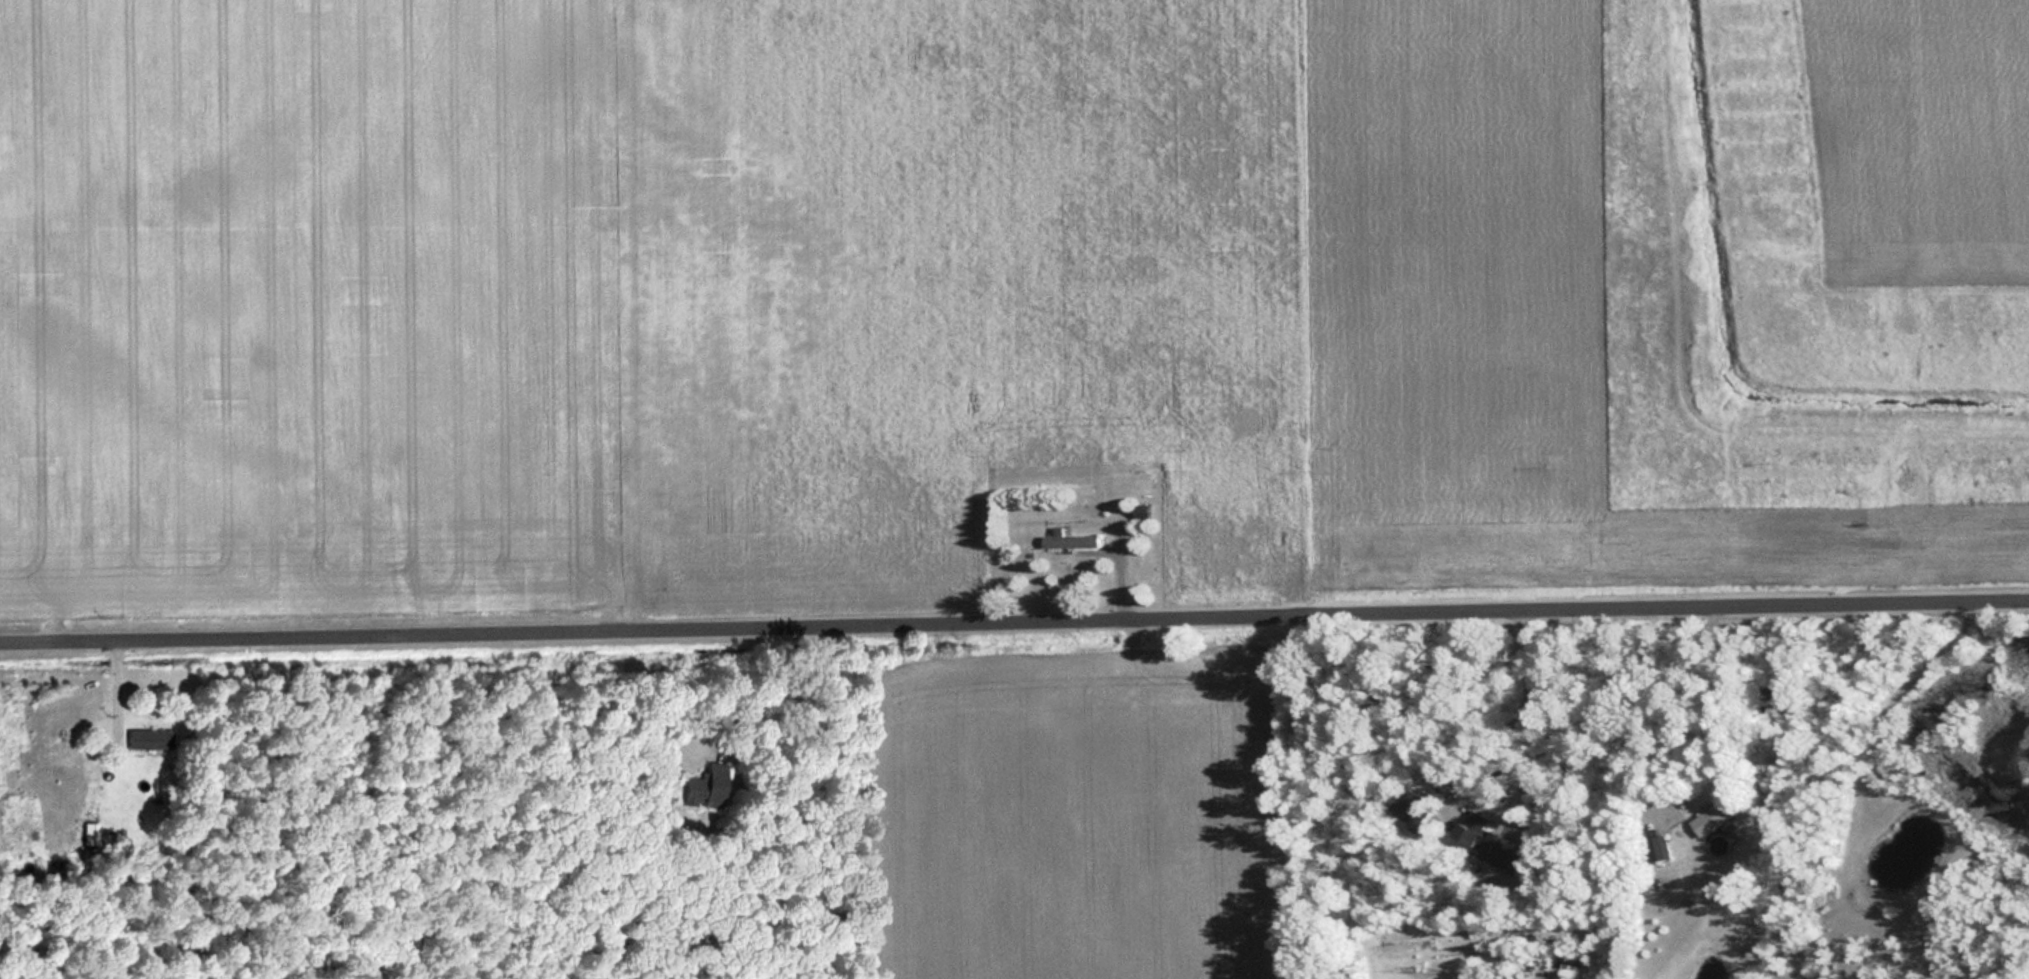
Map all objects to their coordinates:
building: (1139, 510)
building: (1068, 540)
road: (1014, 625)
building: (142, 737)
building: (705, 786)
building: (1408, 809)
building: (1710, 816)
road: (1854, 819)
building: (1479, 836)
building: (1656, 847)

